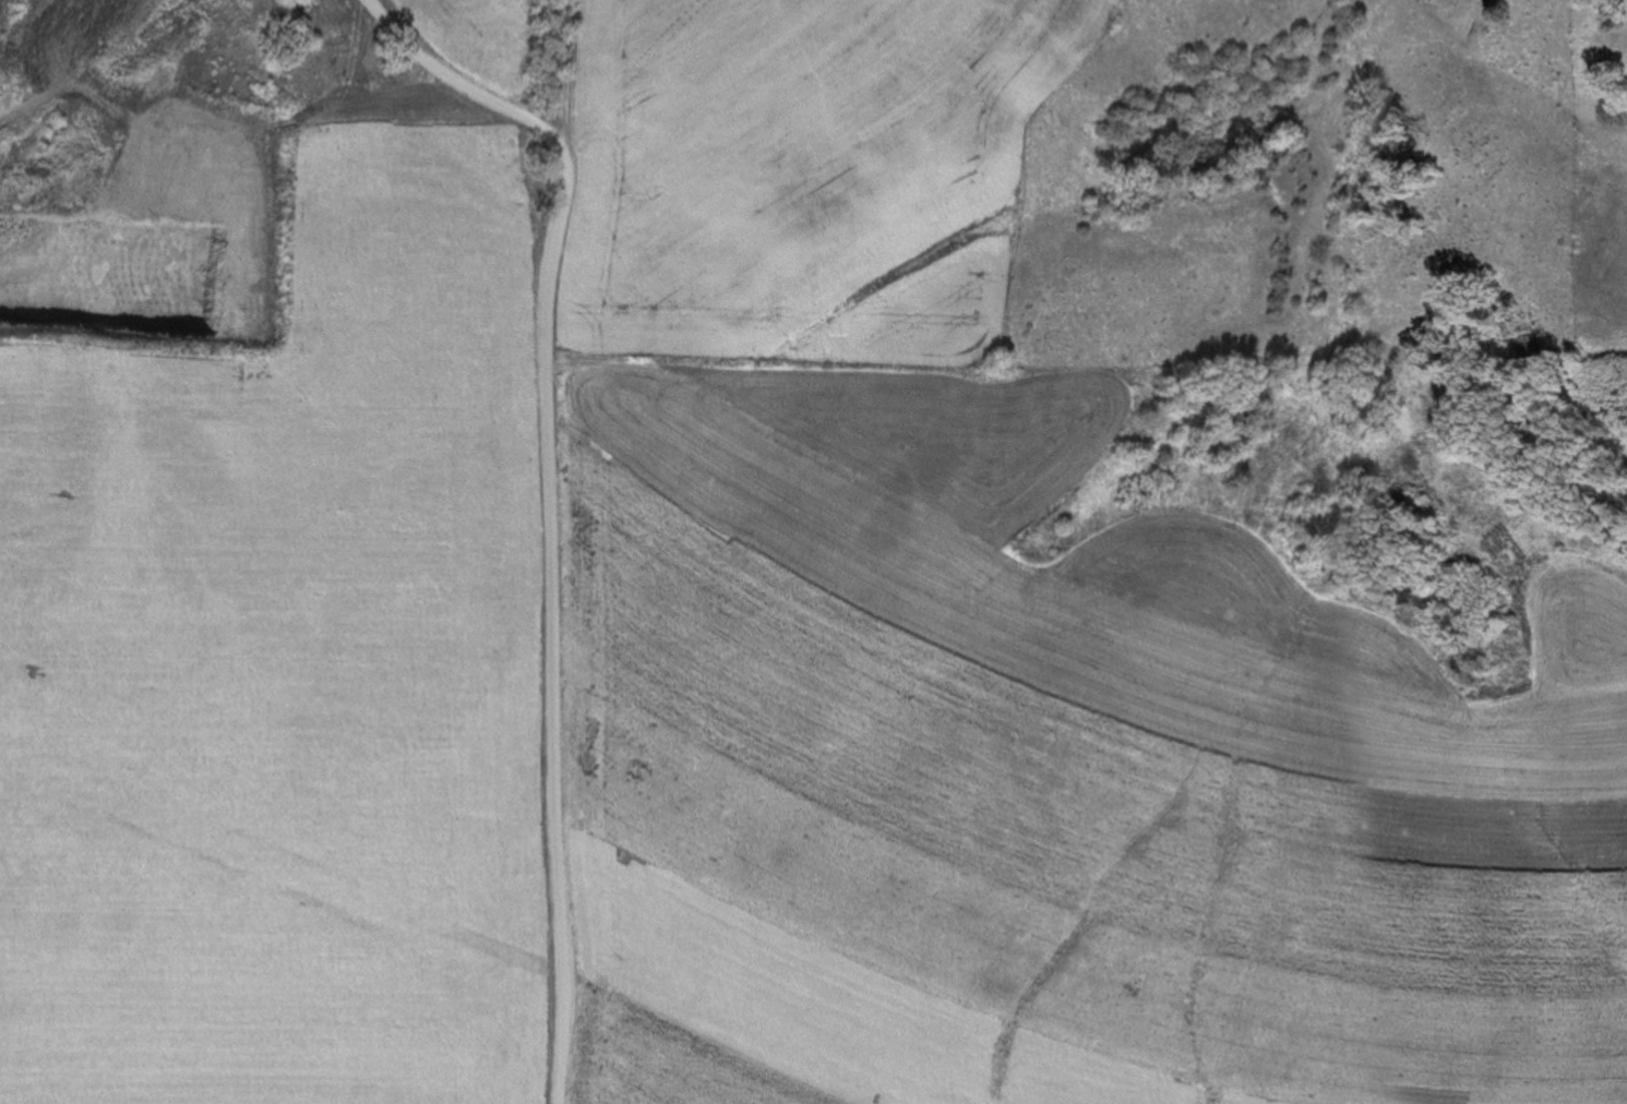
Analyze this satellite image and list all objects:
road: (553, 552)

